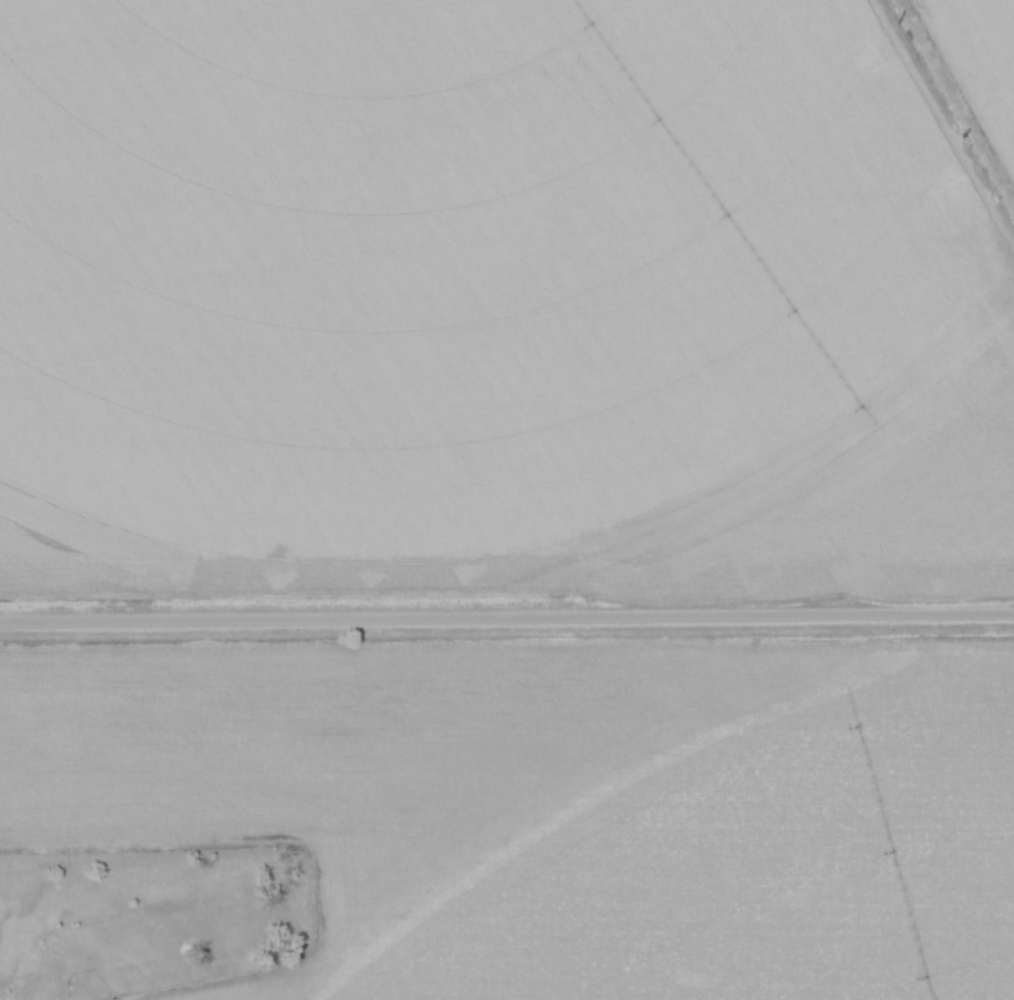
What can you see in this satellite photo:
crop: (475, 265)
road: (506, 616)

